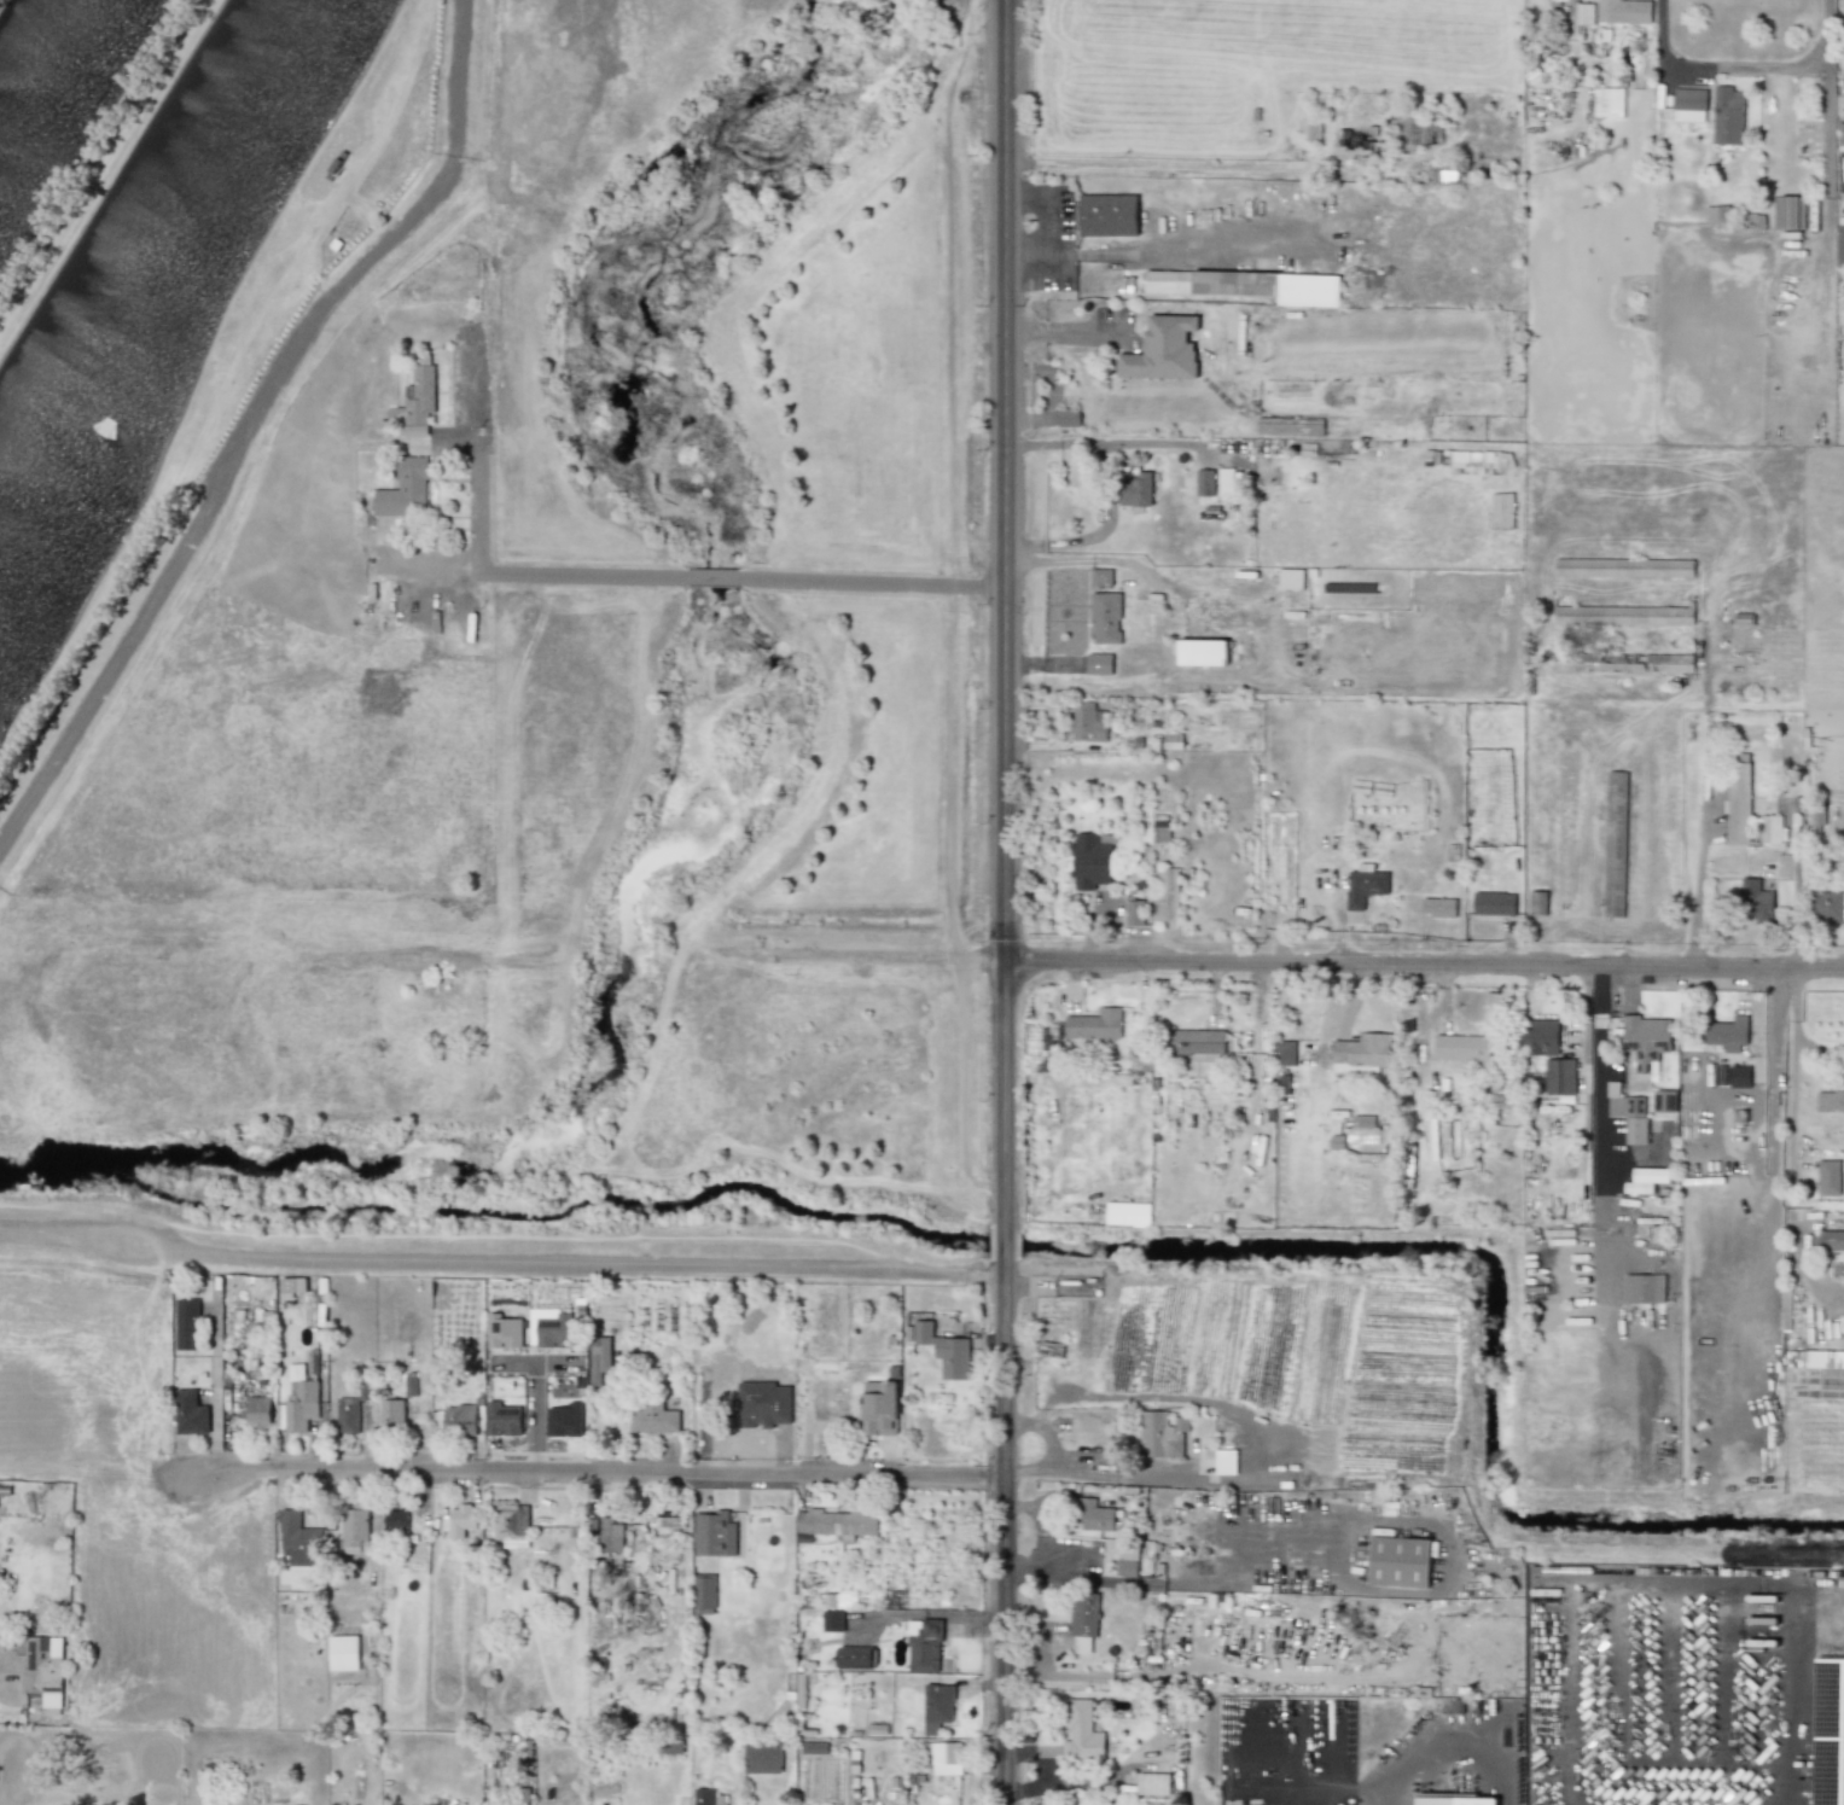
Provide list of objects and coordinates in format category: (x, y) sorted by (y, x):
building: (1843, 6)
building: (1623, 11)
building: (1583, 13)
road: (1741, 66)
building: (1607, 101)
building: (1689, 104)
building: (1727, 115)
road: (1826, 123)
building: (1353, 146)
road: (1146, 164)
building: (1443, 171)
building: (1787, 211)
building: (1715, 214)
building: (1109, 215)
building: (1840, 246)
building: (1249, 285)
road: (1065, 332)
building: (1162, 349)
building: (417, 400)
road: (250, 424)
building: (1204, 482)
building: (1225, 482)
building: (403, 489)
building: (1136, 489)
building: (1501, 510)
road: (481, 548)
road: (435, 567)
building: (1623, 567)
building: (1101, 576)
building: (1290, 578)
road: (716, 580)
road: (876, 583)
building: (1623, 615)
road: (1004, 616)
building: (1105, 617)
building: (1202, 652)
building: (1623, 662)
building: (1099, 663)
building: (1088, 721)
road: (1706, 764)
building: (1738, 802)
building: (1159, 827)
building: (1768, 828)
building: (1092, 858)
building: (1365, 884)
building: (1167, 893)
road: (1797, 895)
building: (1756, 899)
building: (1493, 903)
building: (1438, 906)
building: (1825, 907)
building: (1134, 912)
road: (1369, 959)
road: (1772, 1019)
building: (1094, 1024)
building: (1727, 1032)
building: (1540, 1036)
building: (1645, 1038)
building: (1197, 1043)
building: (1461, 1047)
building: (1362, 1049)
building: (1285, 1052)
building: (1559, 1076)
road: (1793, 1087)
building: (1663, 1100)
building: (1830, 1100)
building: (1627, 1112)
road: (1599, 1125)
building: (1371, 1149)
building: (1828, 1177)
building: (1645, 1178)
building: (1127, 1215)
road: (1007, 1244)
building: (1832, 1250)
road: (502, 1263)
building: (291, 1286)
building: (1644, 1287)
building: (186, 1323)
building: (549, 1327)
building: (502, 1331)
building: (944, 1350)
building: (599, 1358)
building: (1816, 1358)
road: (215, 1384)
building: (299, 1398)
building: (879, 1408)
building: (258, 1411)
building: (391, 1411)
building: (190, 1413)
building: (347, 1415)
building: (651, 1416)
building: (459, 1419)
building: (502, 1419)
building: (564, 1420)
building: (1162, 1433)
building: (1225, 1461)
road: (593, 1469)
building: (1700, 1474)
road: (1066, 1475)
building: (1094, 1514)
building: (395, 1518)
building: (460, 1519)
building: (836, 1522)
building: (511, 1524)
building: (355, 1529)
road: (1006, 1530)
building: (714, 1533)
building: (611, 1535)
building: (298, 1539)
building: (1127, 1561)
building: (1398, 1561)
road: (1082, 1577)
road: (1413, 1588)
building: (704, 1590)
building: (839, 1600)
road: (1705, 1607)
road: (932, 1618)
building: (832, 1620)
building: (1083, 1620)
building: (926, 1646)
building: (343, 1652)
building: (855, 1656)
building: (43, 1669)
road: (1567, 1705)
building: (937, 1706)
road: (1775, 1706)
road: (1460, 1728)
building: (1081, 1733)
building: (762, 1757)
building: (946, 1757)
building: (1152, 1783)
building: (709, 1797)
building: (1455, 1799)
road: (1671, 1800)
road: (872, 1804)

